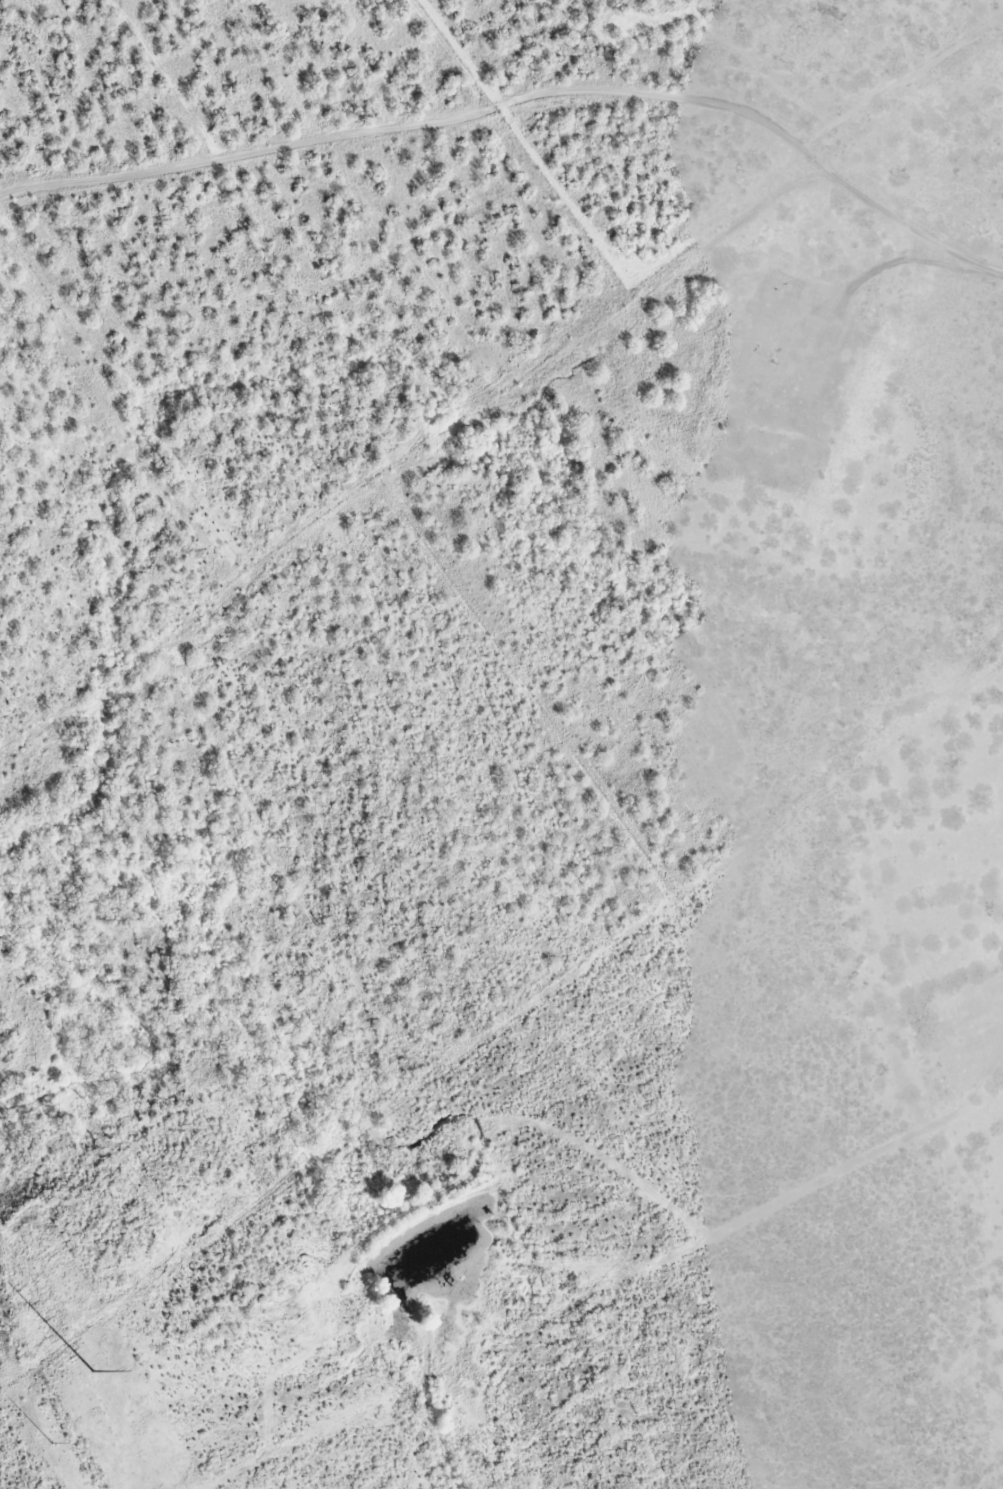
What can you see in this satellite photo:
road: (508, 99)
power tower: (89, 1371)
power tower: (49, 1443)

